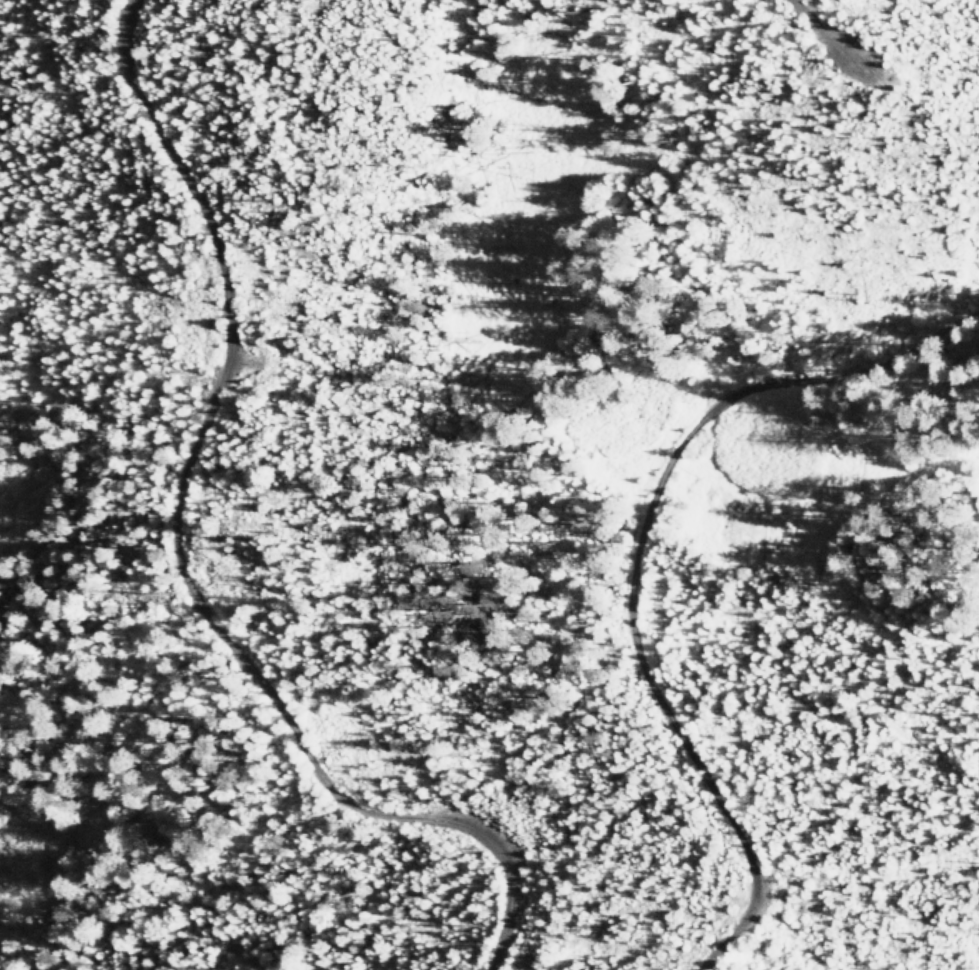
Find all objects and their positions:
road: (819, 31)
road: (168, 559)
road: (641, 566)

